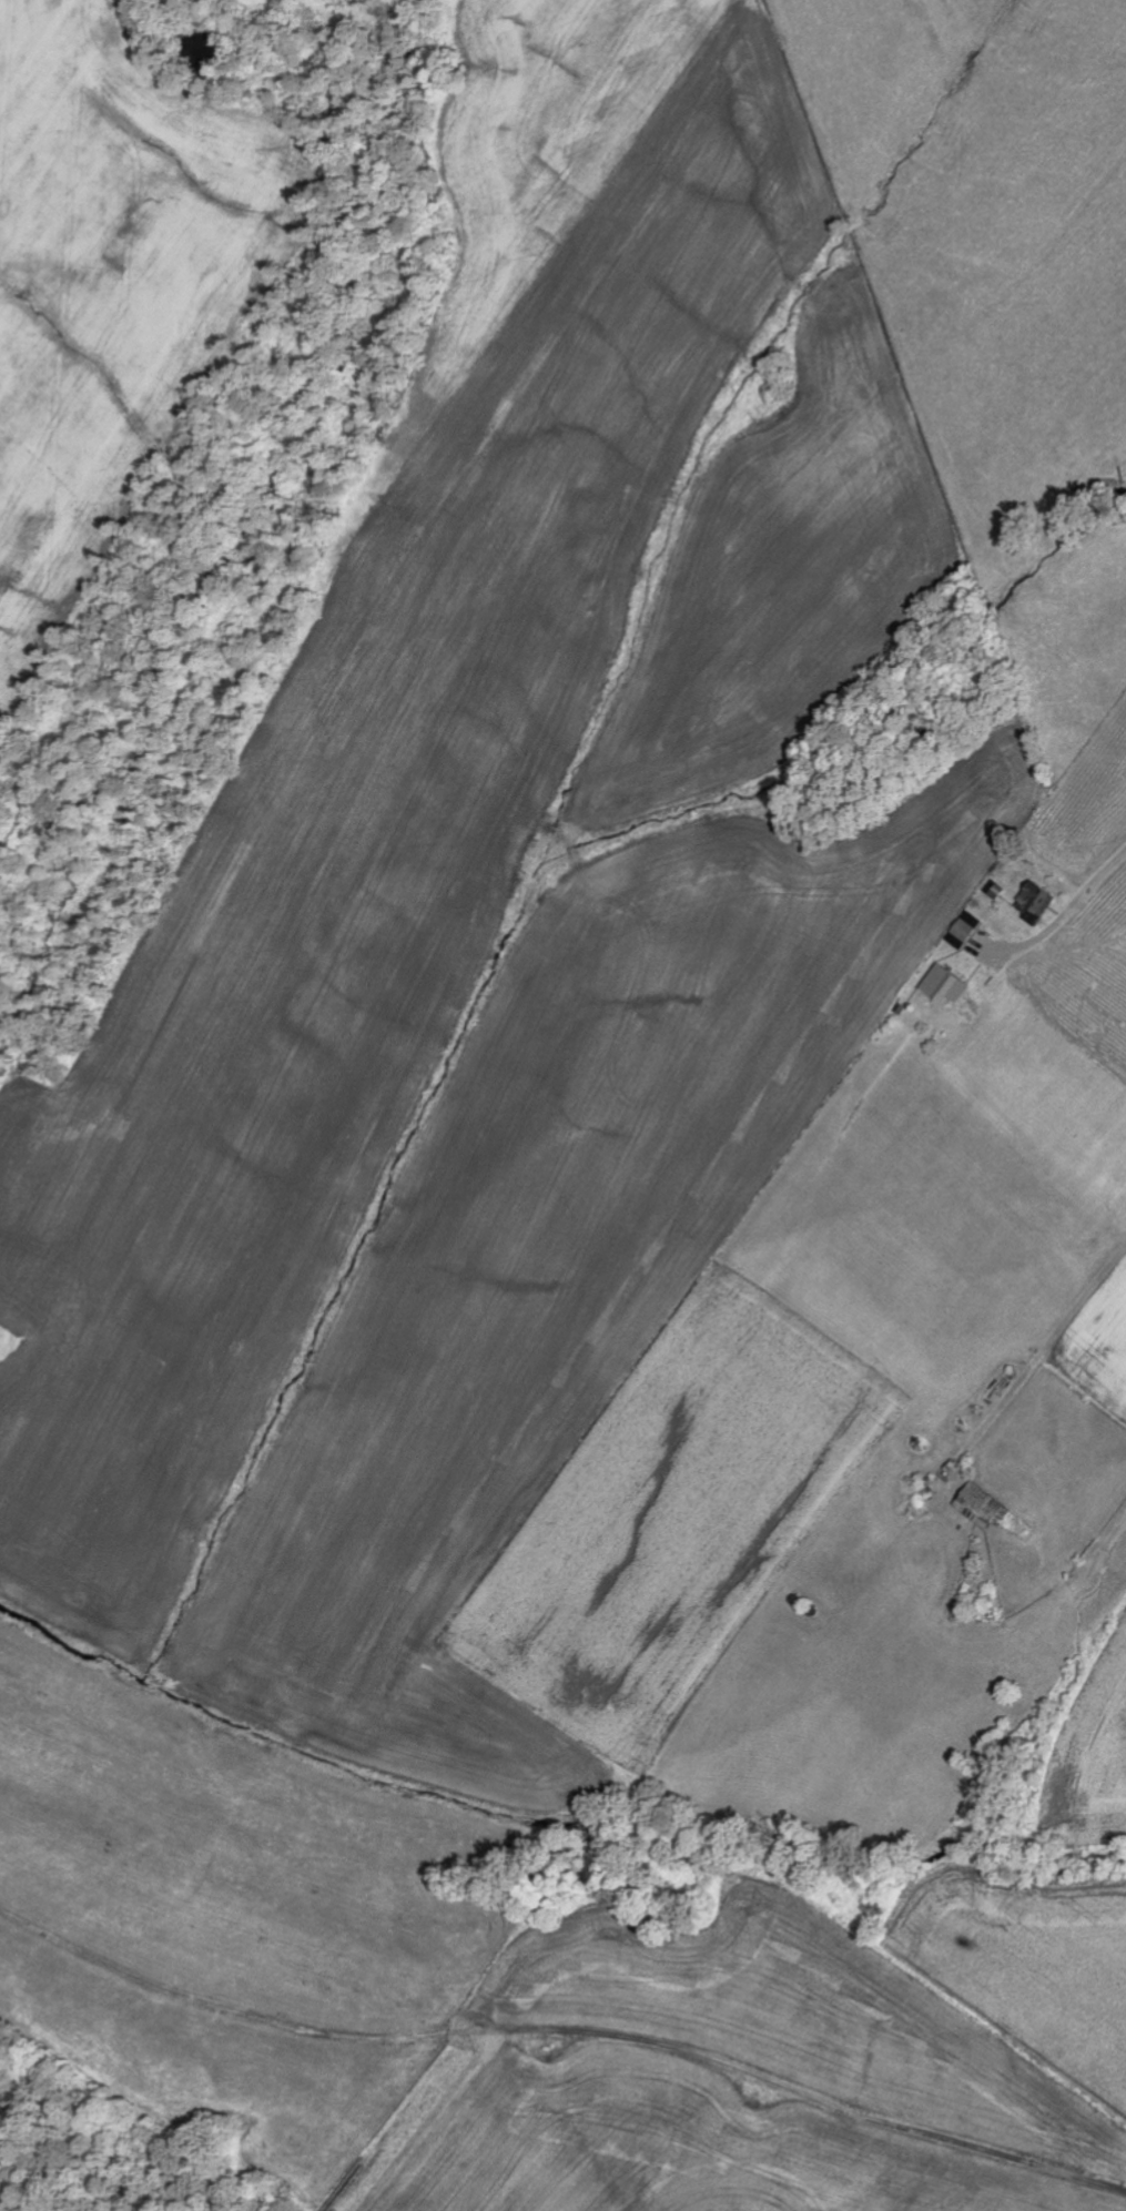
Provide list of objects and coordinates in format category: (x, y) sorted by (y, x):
building: (1034, 902)
building: (1048, 904)
road: (1069, 911)
building: (968, 931)
building: (949, 986)
road: (1051, 1346)
building: (985, 1507)
road: (565, 2033)
road: (427, 2121)

